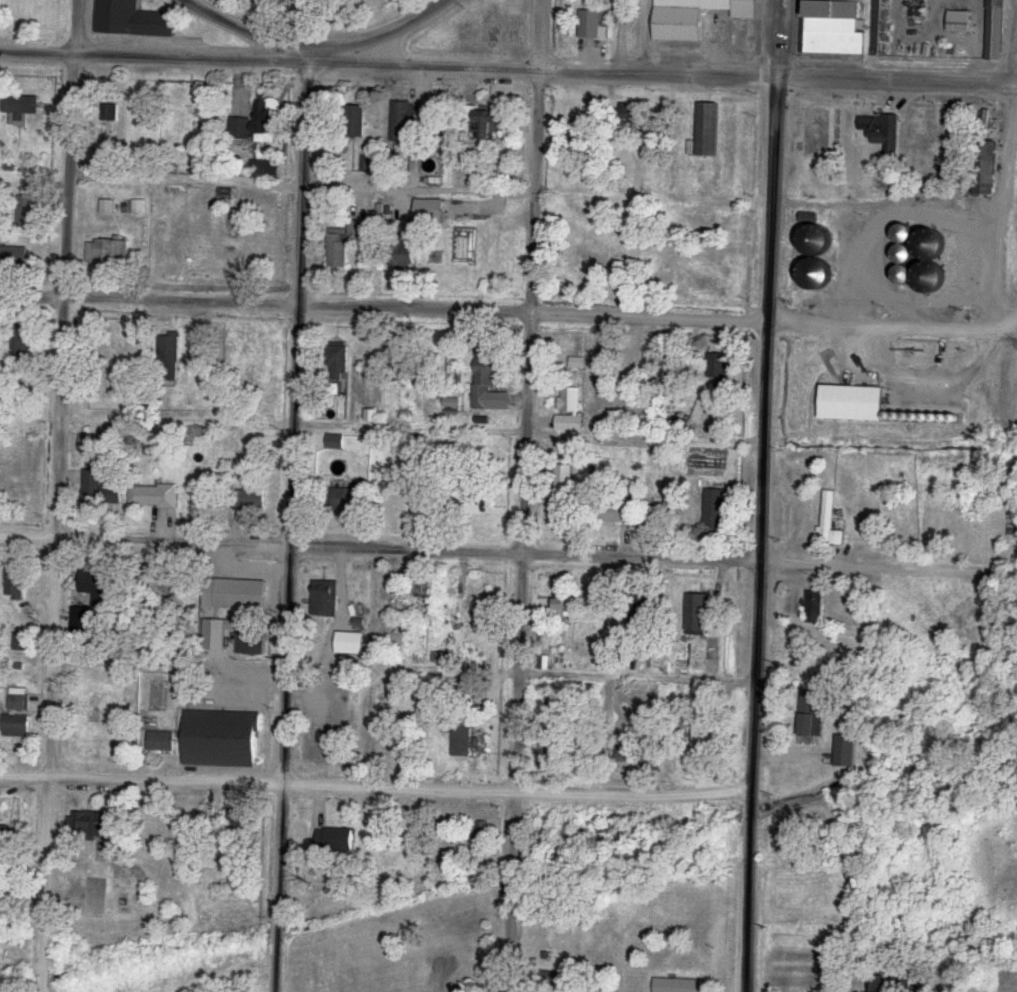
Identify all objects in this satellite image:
building: (745, 9)
building: (916, 10)
park: (314, 14)
building: (131, 19)
building: (683, 19)
building: (961, 22)
road: (307, 23)
building: (590, 25)
building: (834, 27)
building: (879, 28)
building: (993, 29)
road: (313, 47)
road: (508, 69)
building: (20, 104)
building: (630, 114)
building: (106, 120)
building: (355, 120)
building: (405, 121)
building: (482, 121)
building: (256, 122)
building: (709, 129)
building: (882, 132)
road: (776, 160)
building: (265, 169)
building: (29, 204)
road: (1005, 214)
building: (163, 235)
building: (825, 243)
building: (337, 249)
building: (109, 251)
building: (403, 253)
building: (14, 256)
building: (907, 273)
road: (508, 311)
building: (26, 345)
building: (169, 354)
building: (434, 358)
building: (399, 359)
building: (639, 361)
building: (338, 362)
building: (719, 368)
building: (484, 378)
building: (570, 400)
building: (854, 402)
building: (569, 423)
building: (336, 442)
building: (89, 443)
building: (564, 477)
building: (100, 490)
road: (59, 496)
building: (154, 496)
road: (526, 496)
building: (251, 499)
building: (346, 499)
building: (564, 506)
building: (715, 508)
building: (473, 509)
building: (620, 512)
building: (824, 514)
road: (290, 519)
road: (381, 547)
building: (15, 582)
building: (421, 584)
building: (252, 585)
building: (97, 587)
building: (453, 591)
building: (325, 598)
building: (564, 602)
building: (814, 607)
building: (699, 614)
building: (19, 641)
building: (250, 641)
road: (758, 656)
building: (19, 702)
building: (809, 713)
building: (16, 725)
building: (701, 728)
building: (221, 739)
building: (462, 740)
building: (162, 741)
building: (845, 751)
building: (547, 757)
building: (633, 758)
road: (376, 784)
building: (236, 823)
building: (88, 824)
building: (616, 830)
building: (548, 833)
building: (482, 834)
building: (9, 837)
building: (335, 839)
building: (122, 879)
building: (678, 985)

